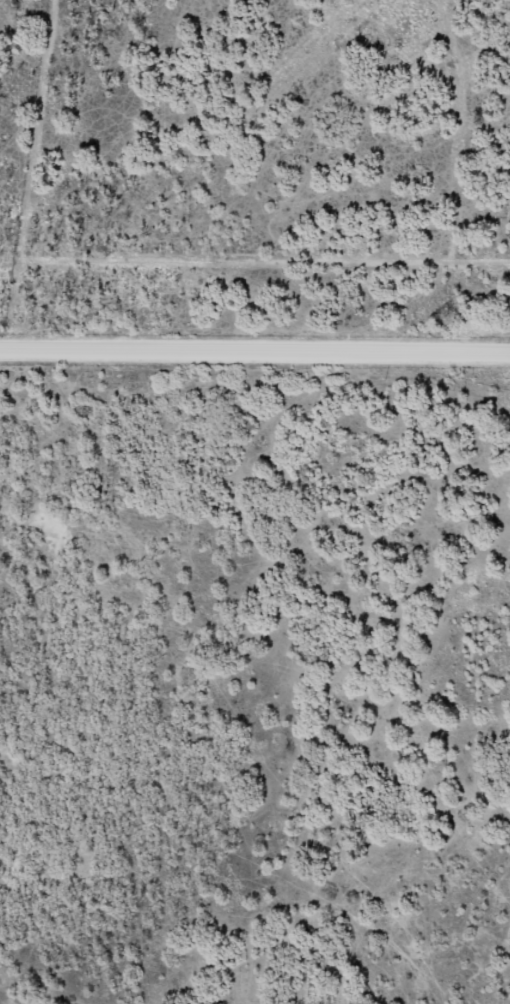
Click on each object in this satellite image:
road: (255, 359)

